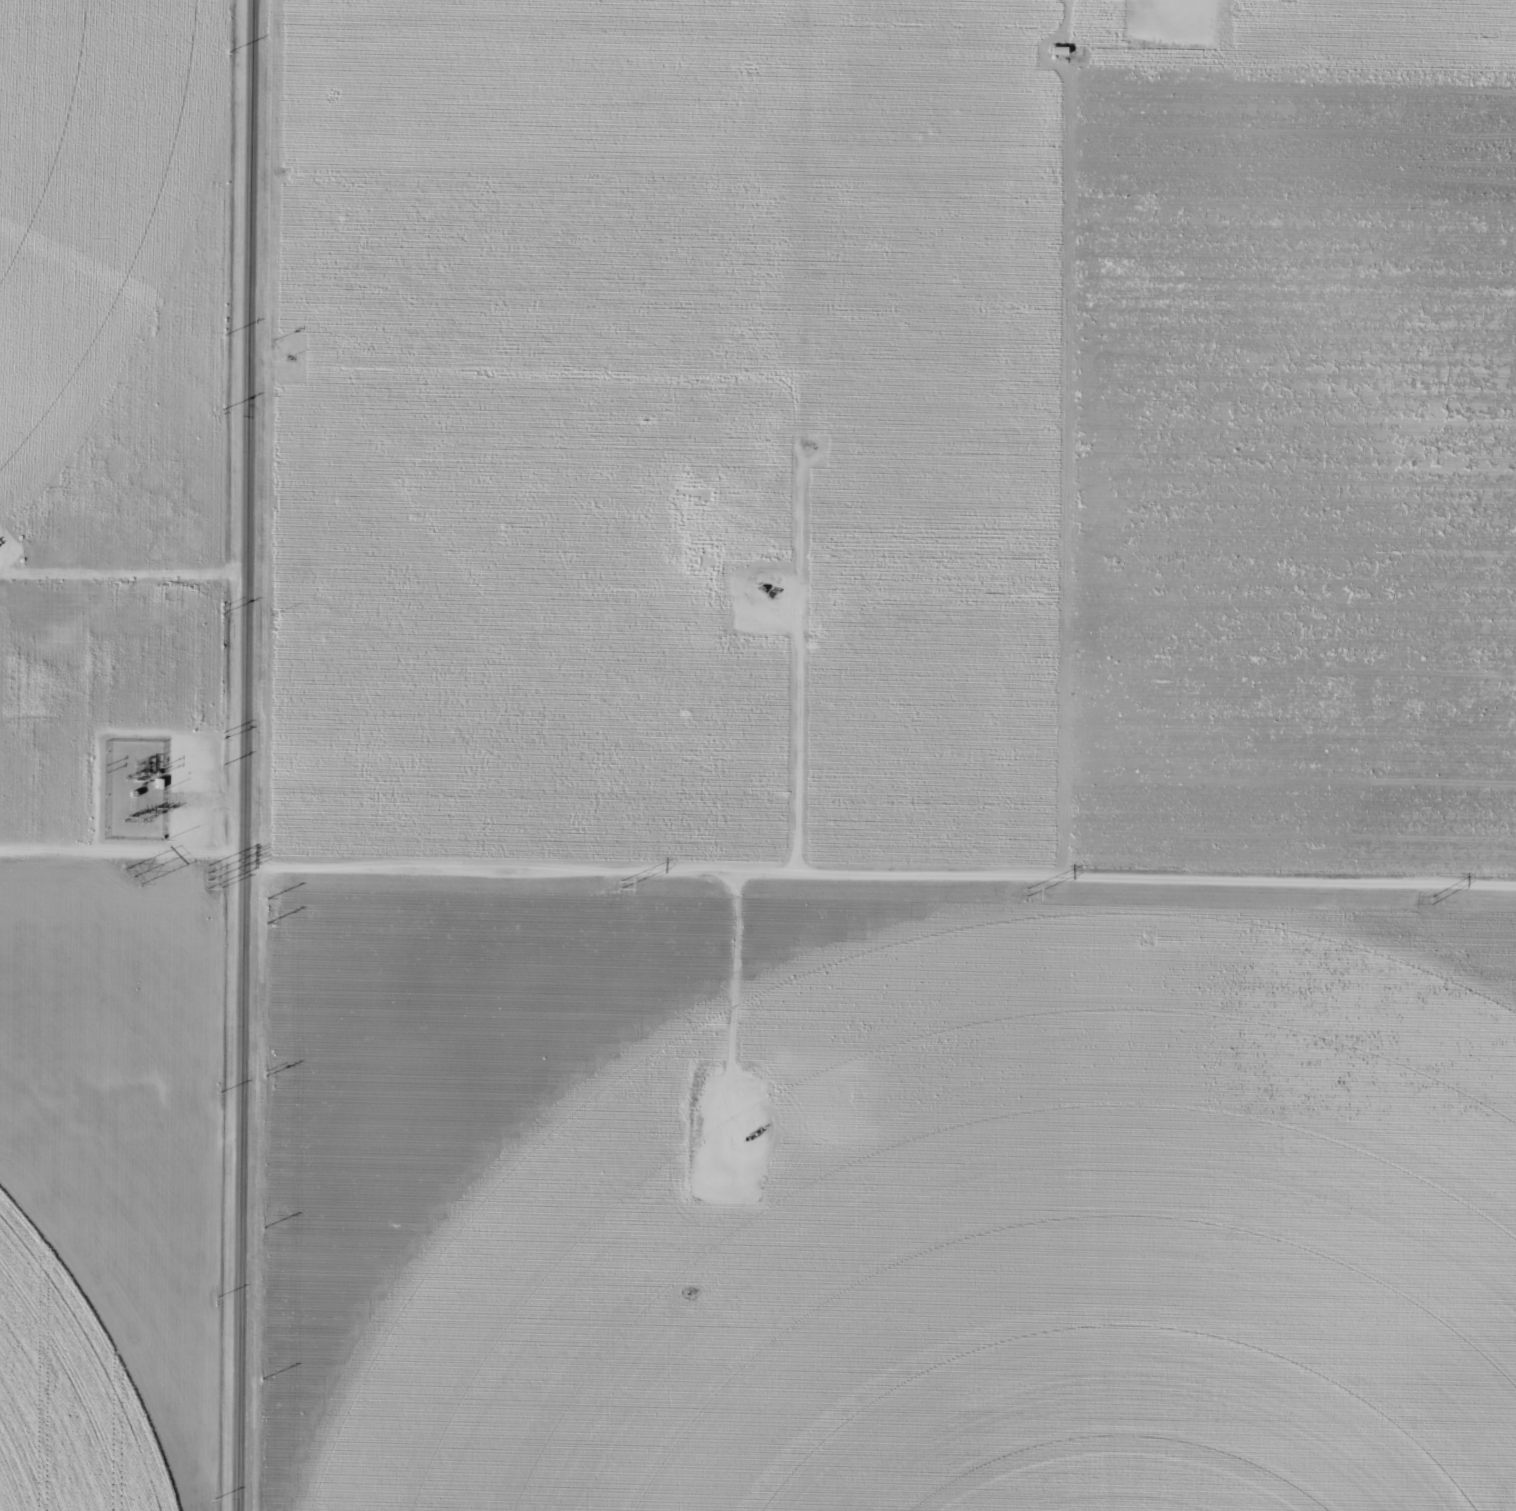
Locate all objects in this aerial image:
road: (791, 443)
road: (244, 755)
road: (757, 886)

